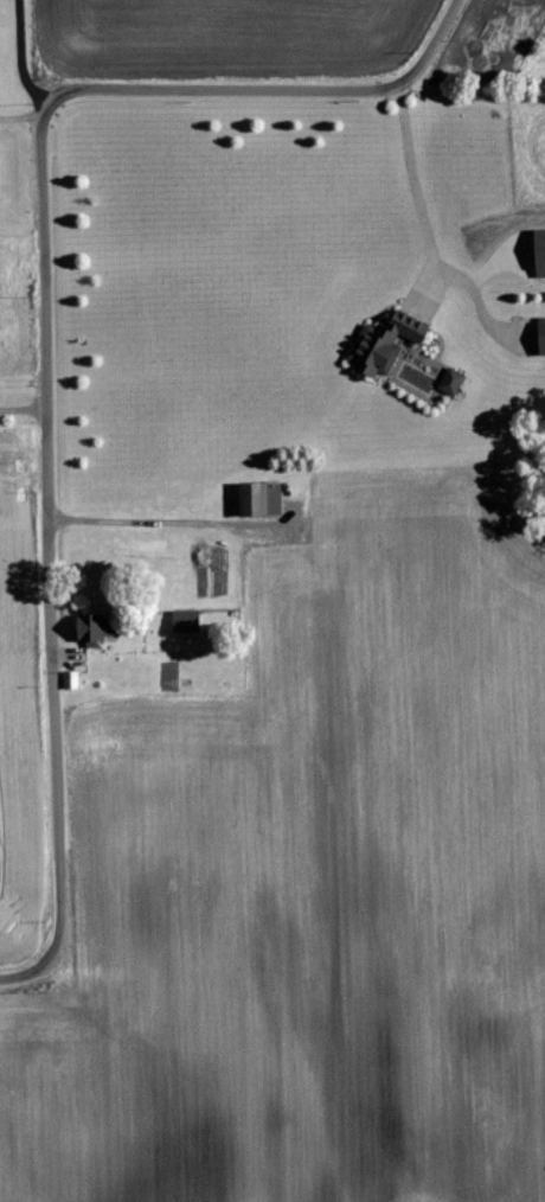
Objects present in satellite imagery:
road: (21, 57)
road: (21, 119)
road: (425, 234)
building: (541, 252)
road: (45, 330)
building: (543, 338)
building: (387, 347)
building: (454, 382)
road: (24, 410)
building: (264, 500)
road: (161, 523)
building: (188, 622)
building: (97, 628)
building: (72, 682)

